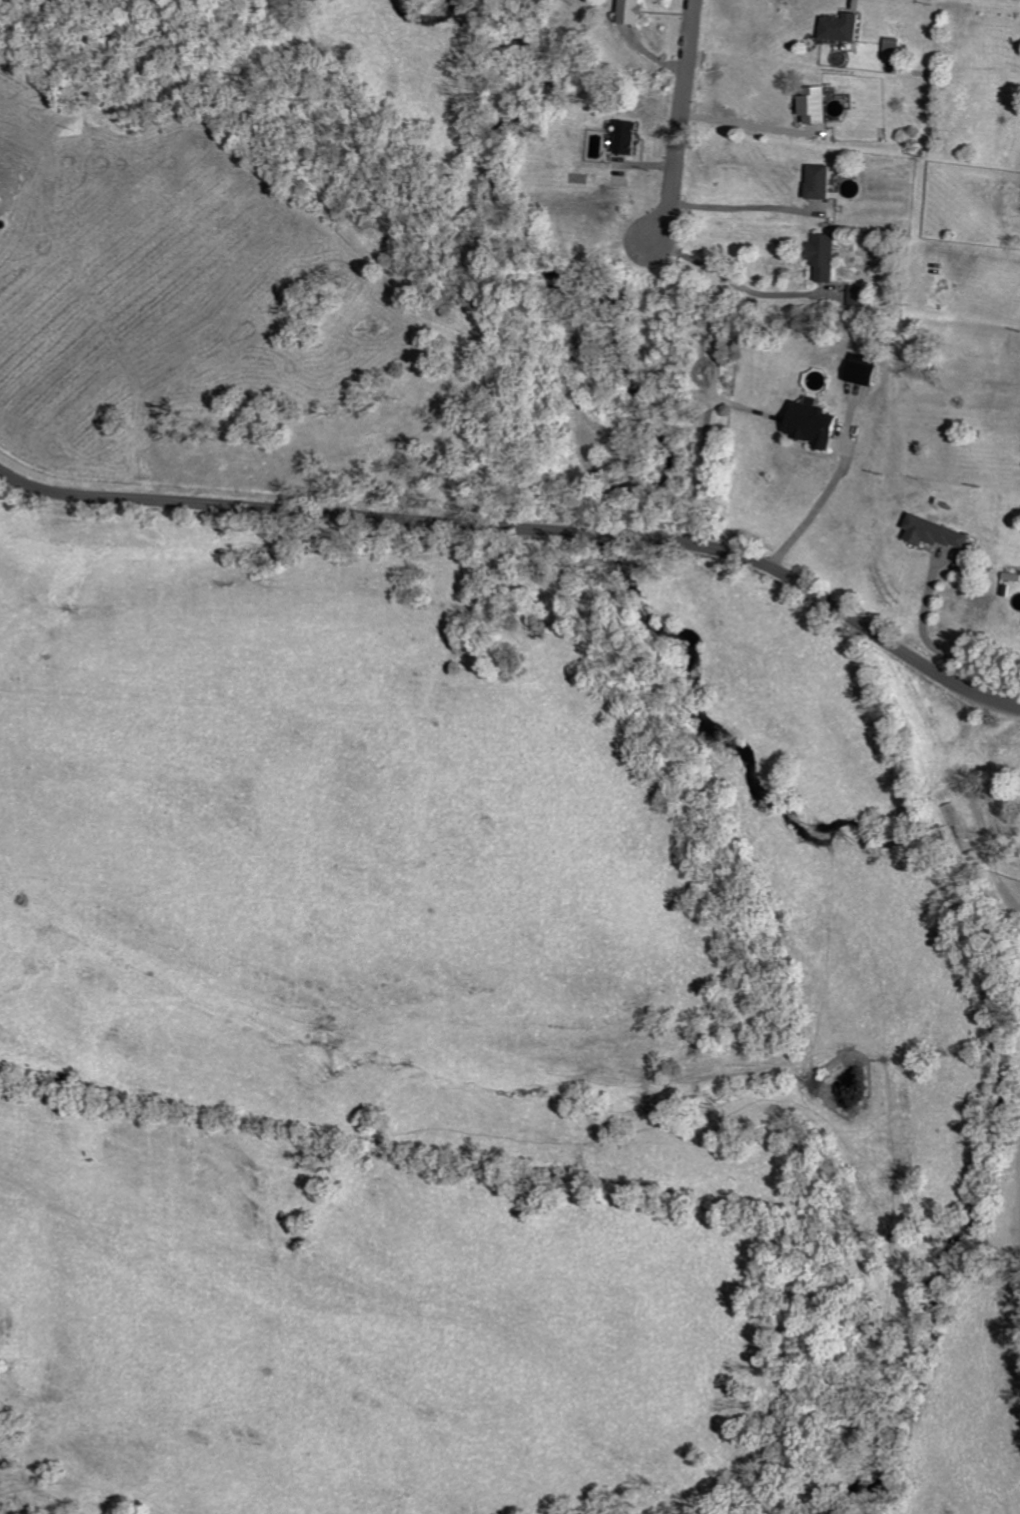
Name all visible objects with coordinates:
building: (636, 11)
building: (848, 27)
building: (820, 106)
road: (740, 121)
road: (682, 124)
building: (629, 137)
building: (824, 182)
building: (1, 201)
road: (737, 206)
building: (829, 258)
building: (861, 295)
building: (868, 370)
building: (818, 423)
road: (819, 506)
road: (527, 528)
building: (941, 533)
building: (1014, 576)
road: (925, 622)

